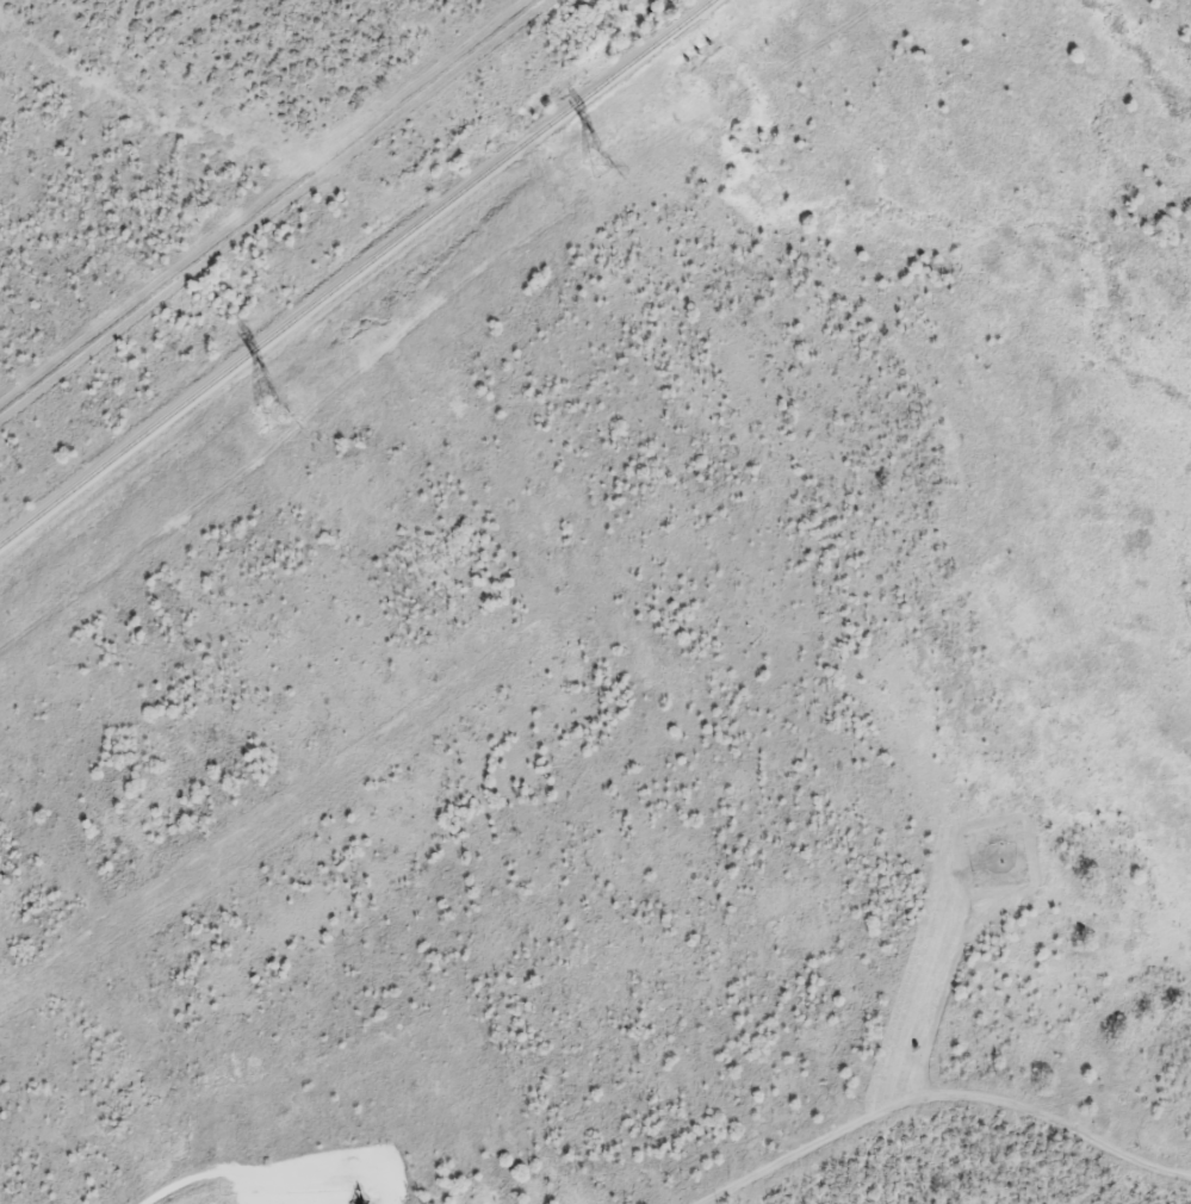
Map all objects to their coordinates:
power tower: (598, 166)
railway: (355, 273)
power tower: (273, 417)
road: (178, 1189)

